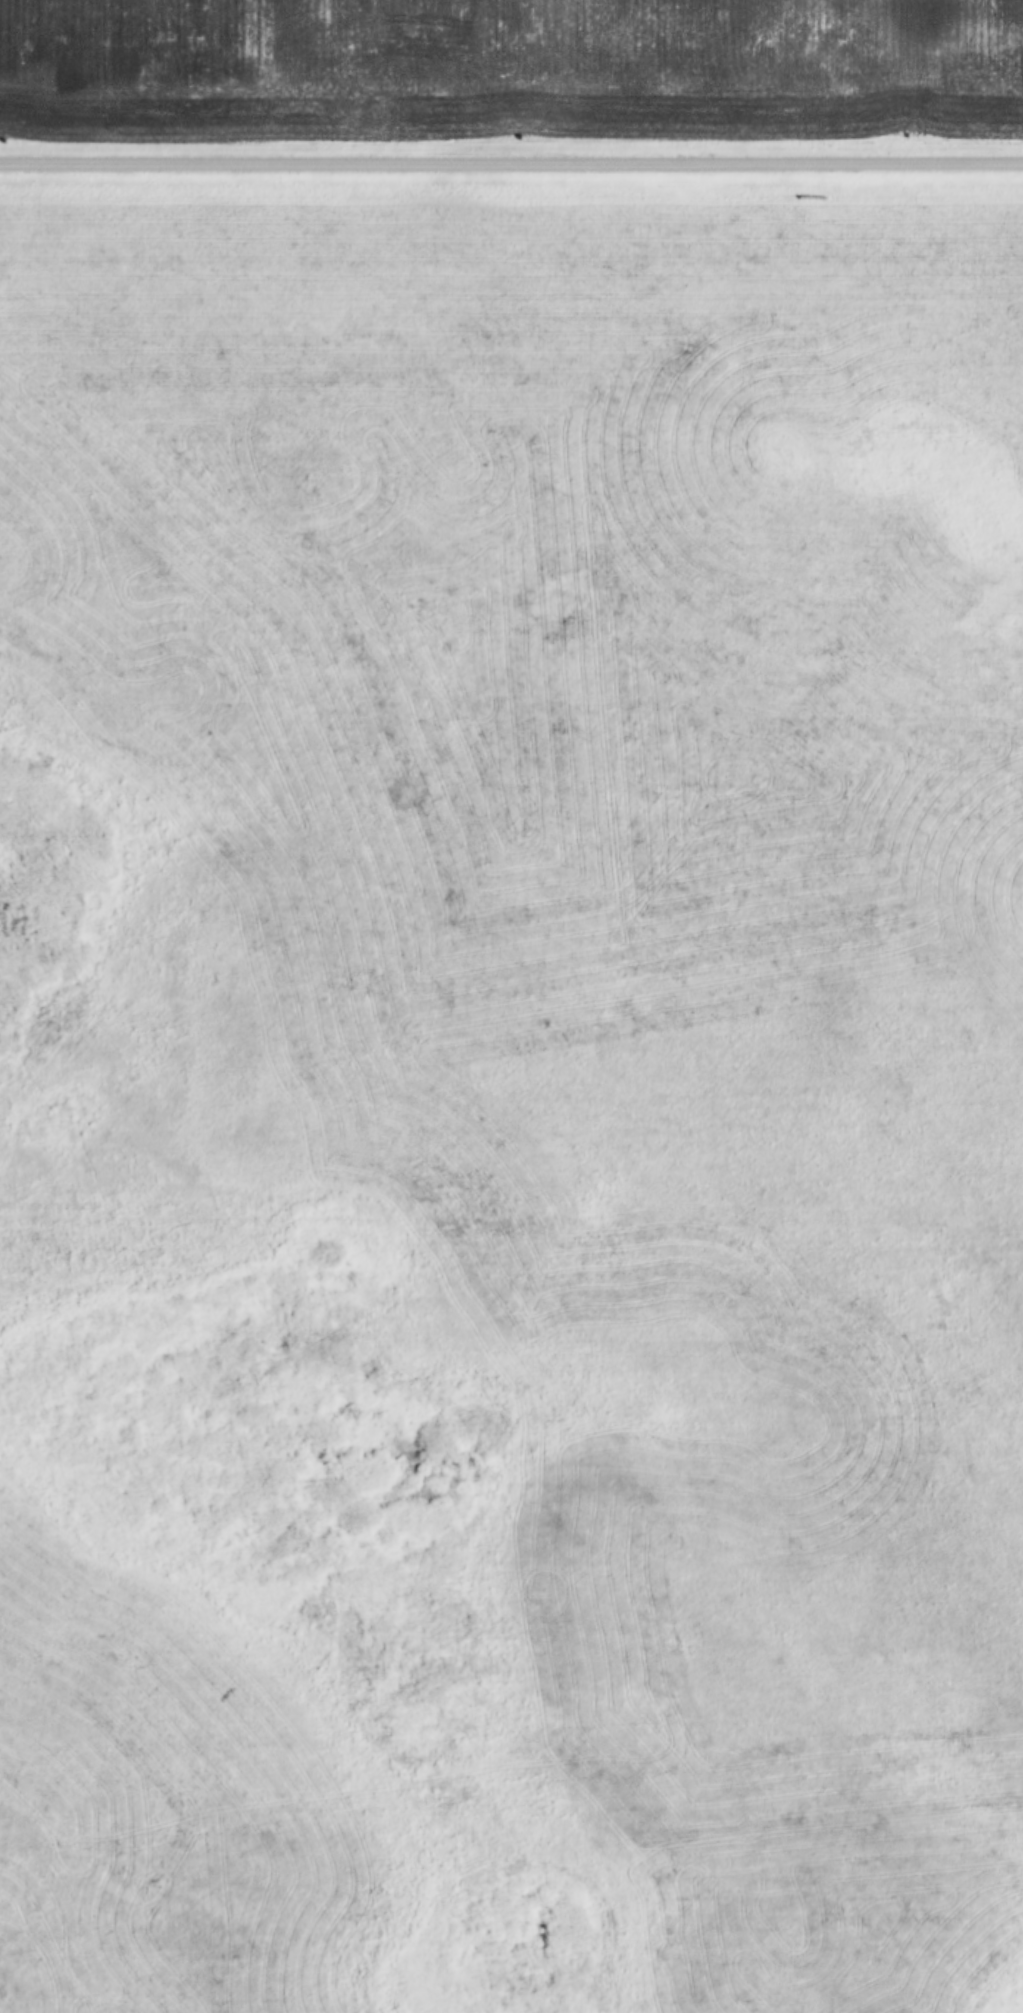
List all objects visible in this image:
road: (511, 159)

